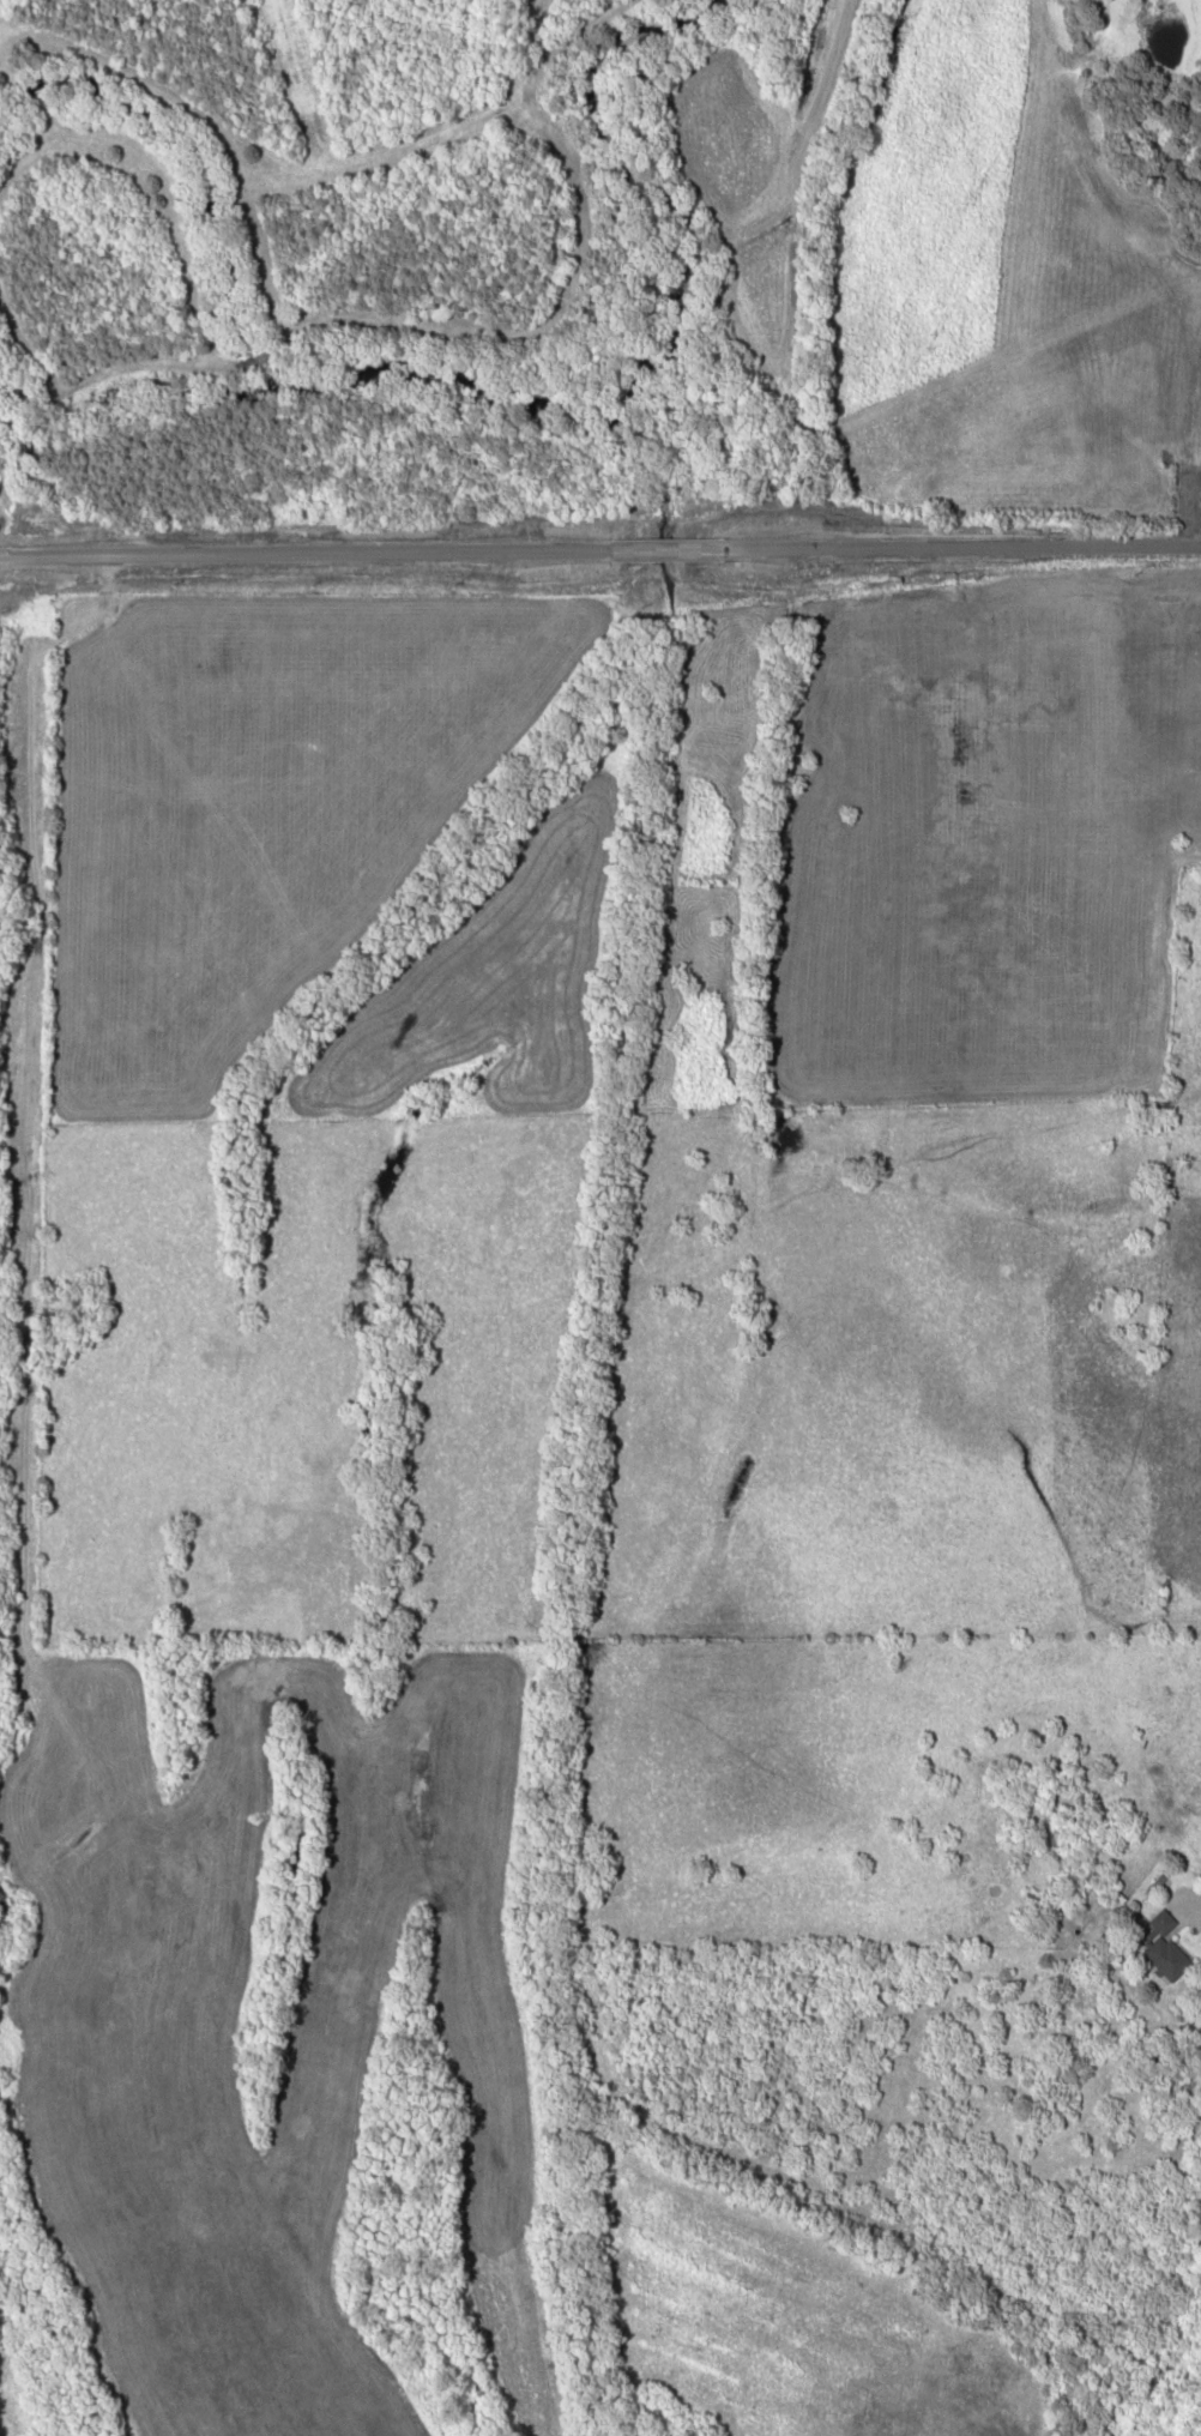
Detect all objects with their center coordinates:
road: (630, 543)
road: (29, 548)
building: (1161, 1948)

